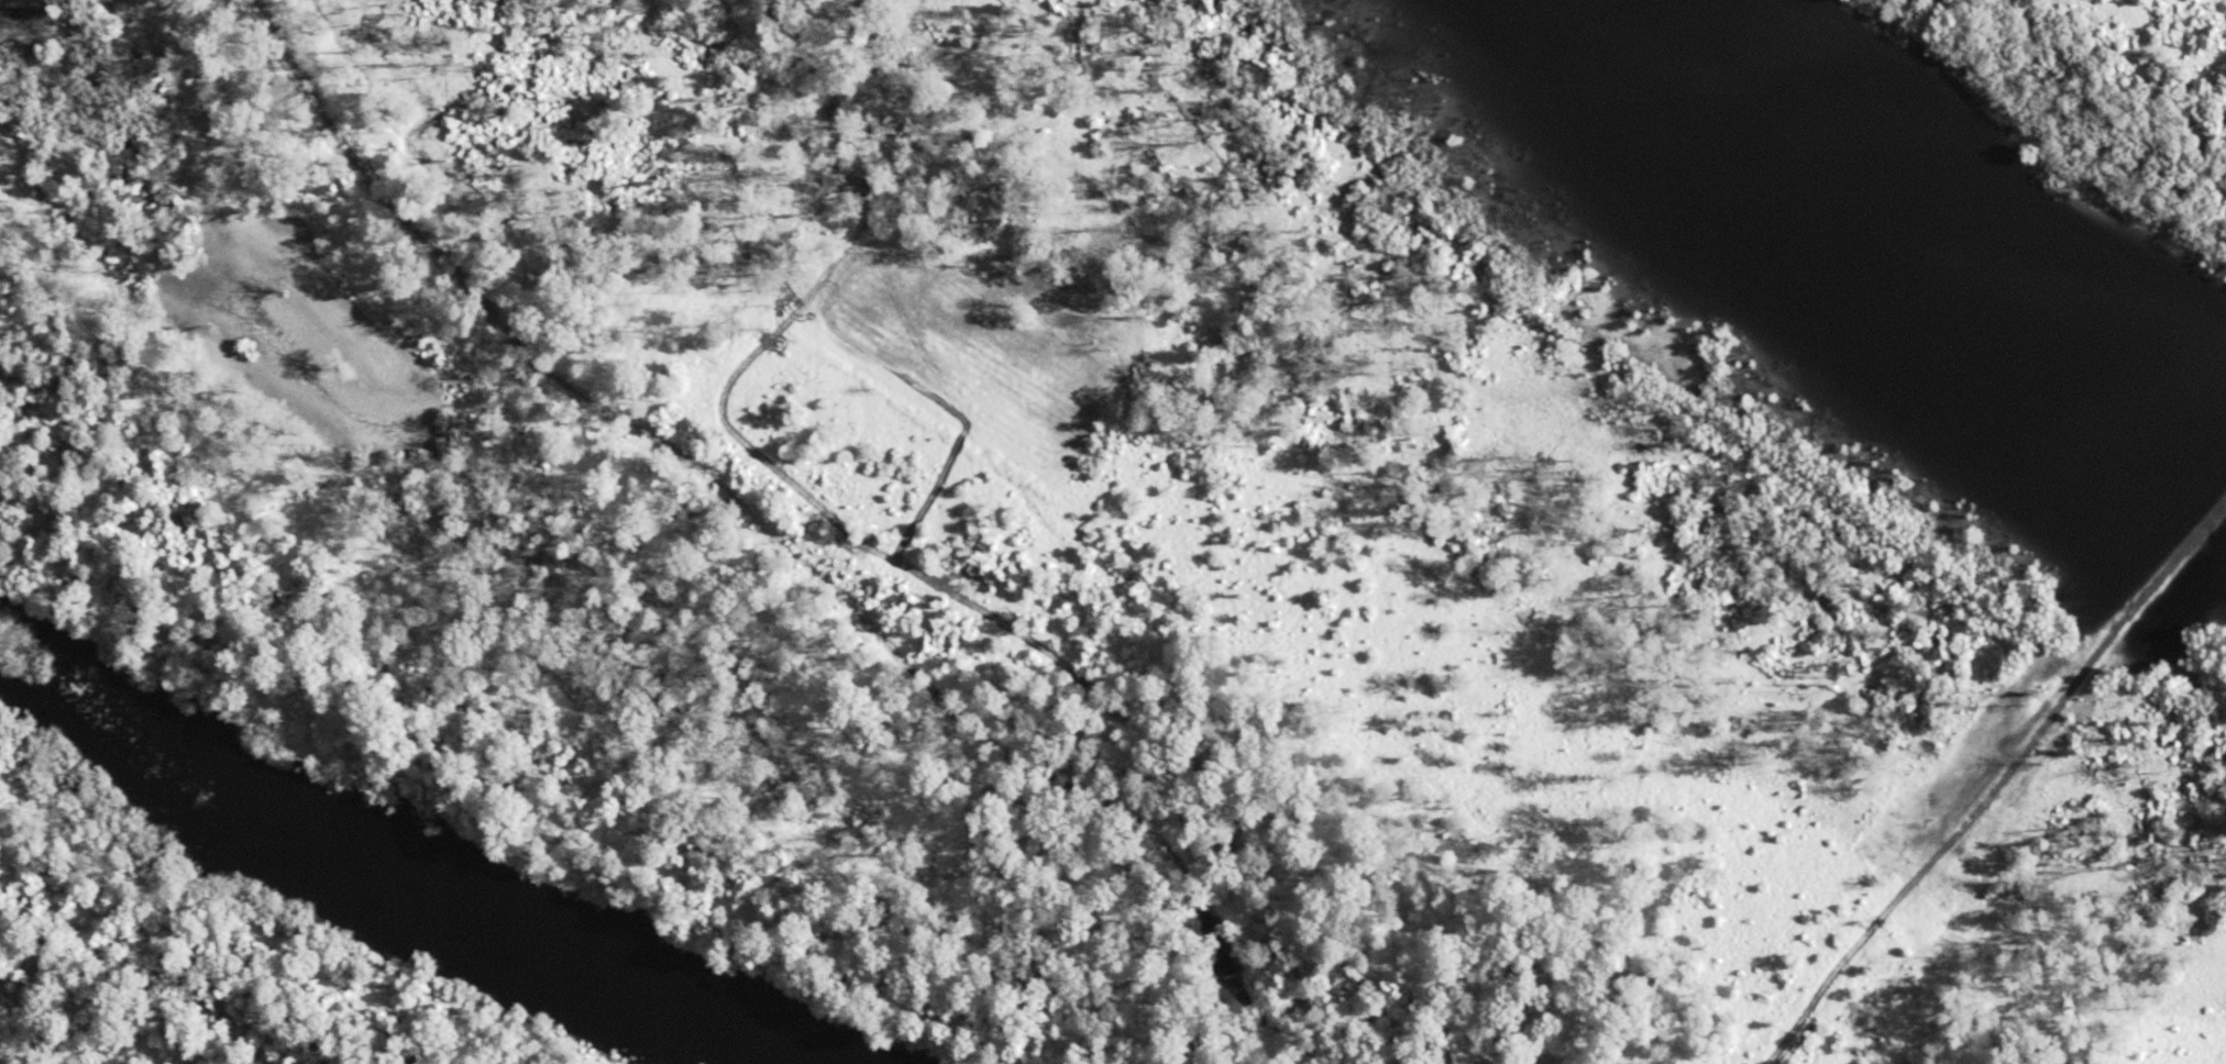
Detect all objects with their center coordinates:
road: (2051, 765)
road: (604, 850)

